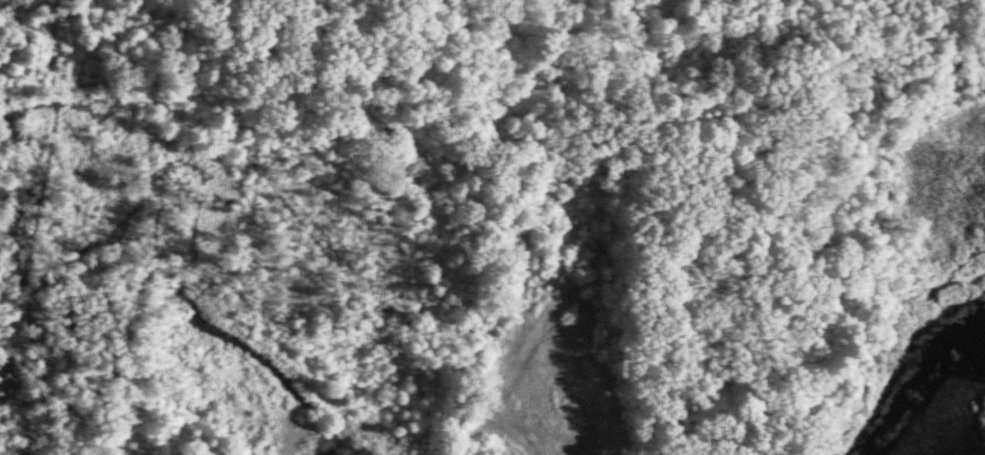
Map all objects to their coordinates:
road: (739, 103)
road: (730, 280)
road: (505, 434)
road: (457, 438)

